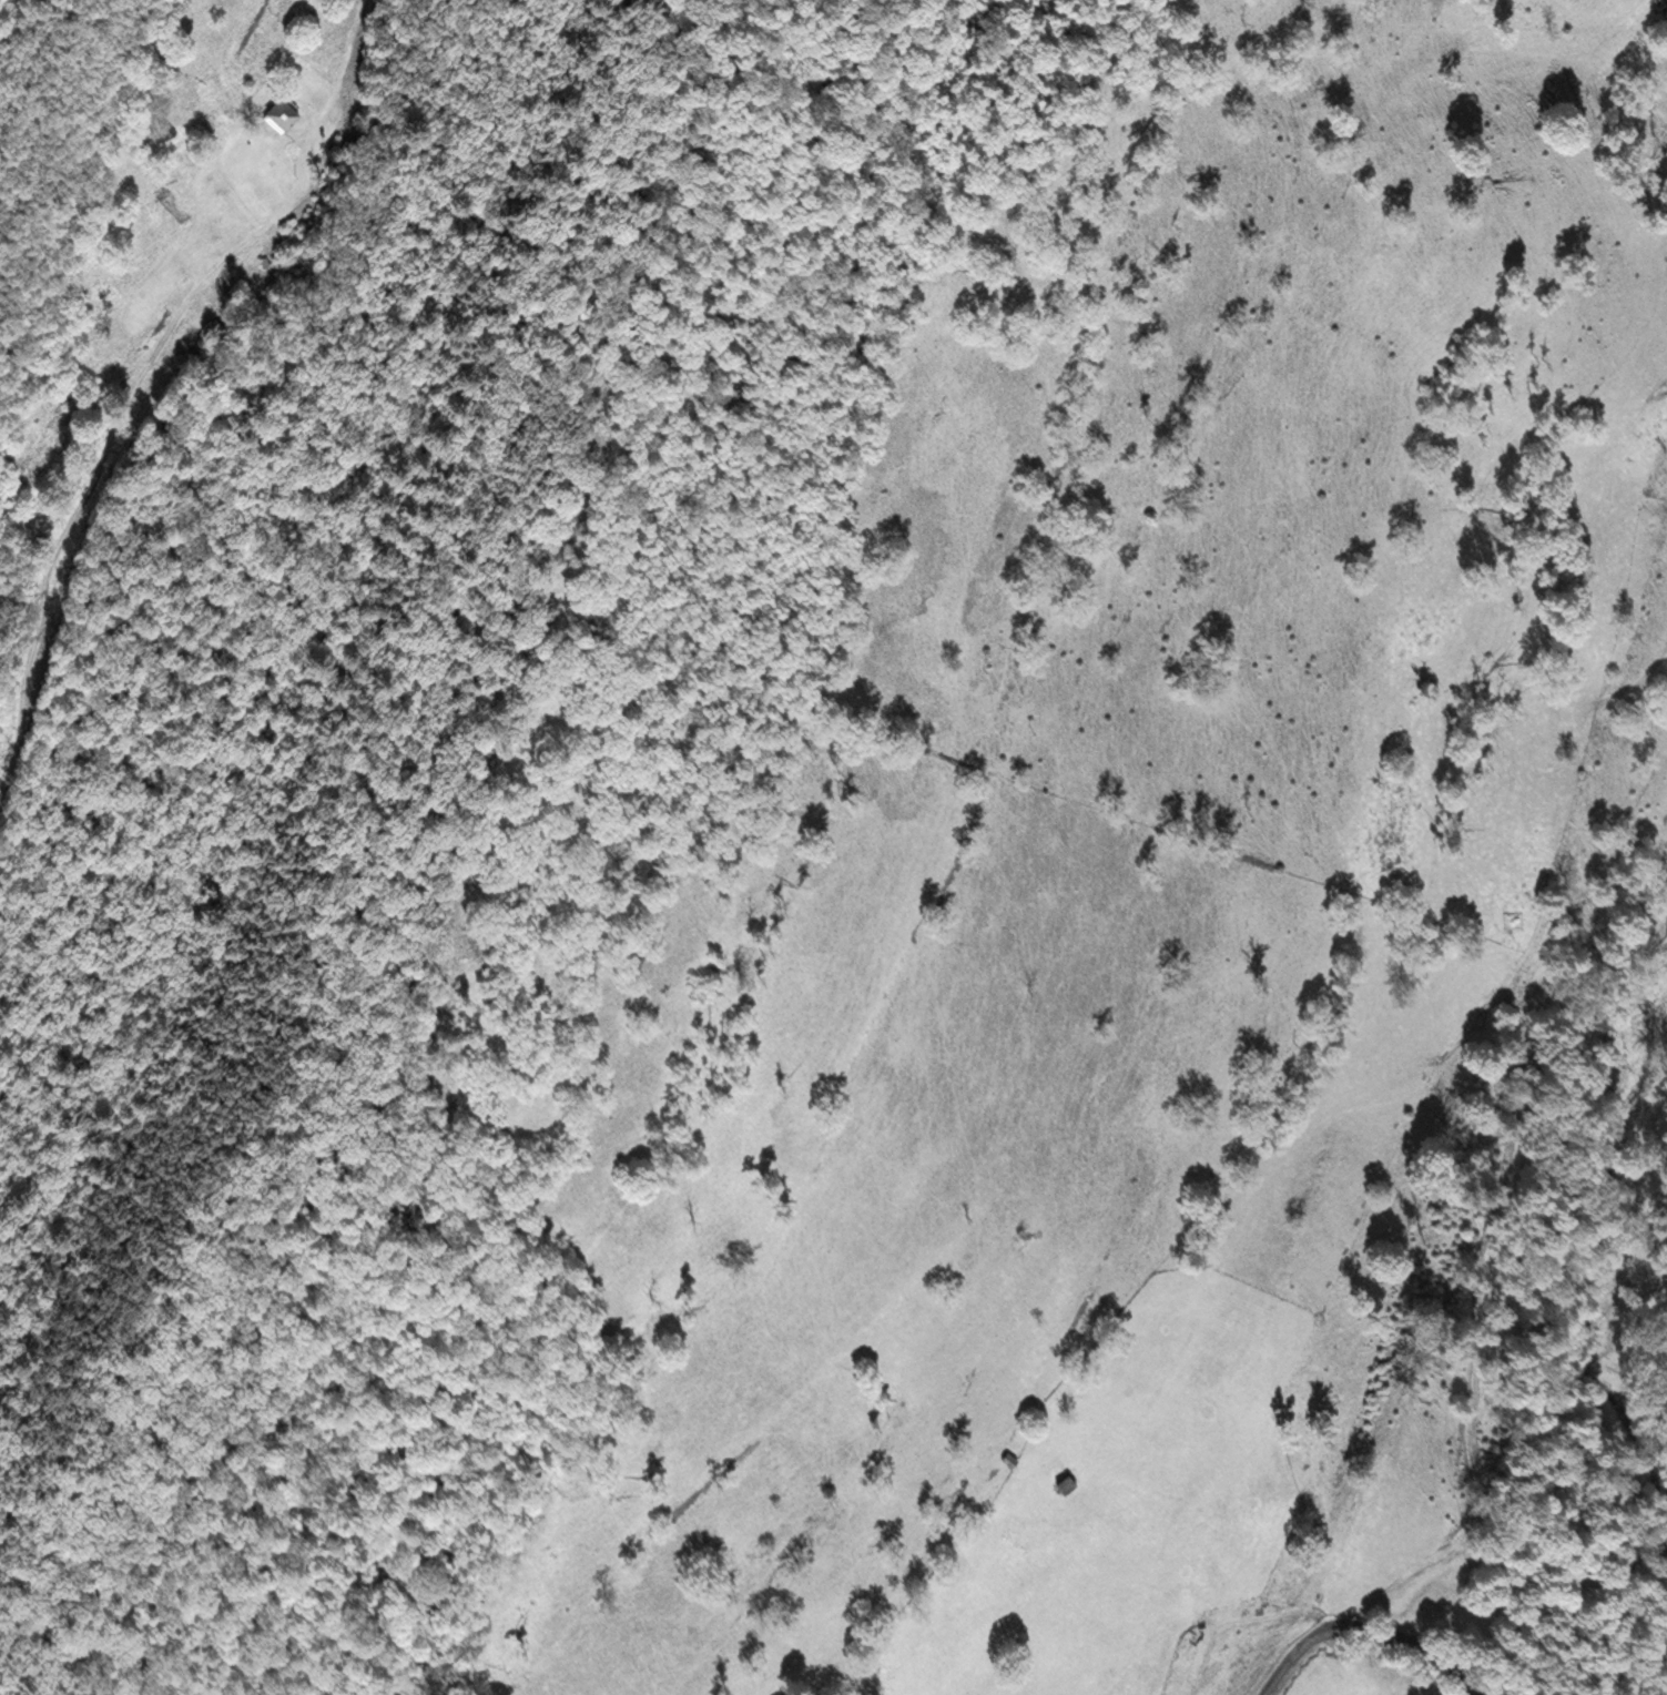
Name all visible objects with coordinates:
building: (284, 113)
road: (148, 369)
building: (1012, 1458)
building: (1068, 1481)
road: (1370, 1630)

